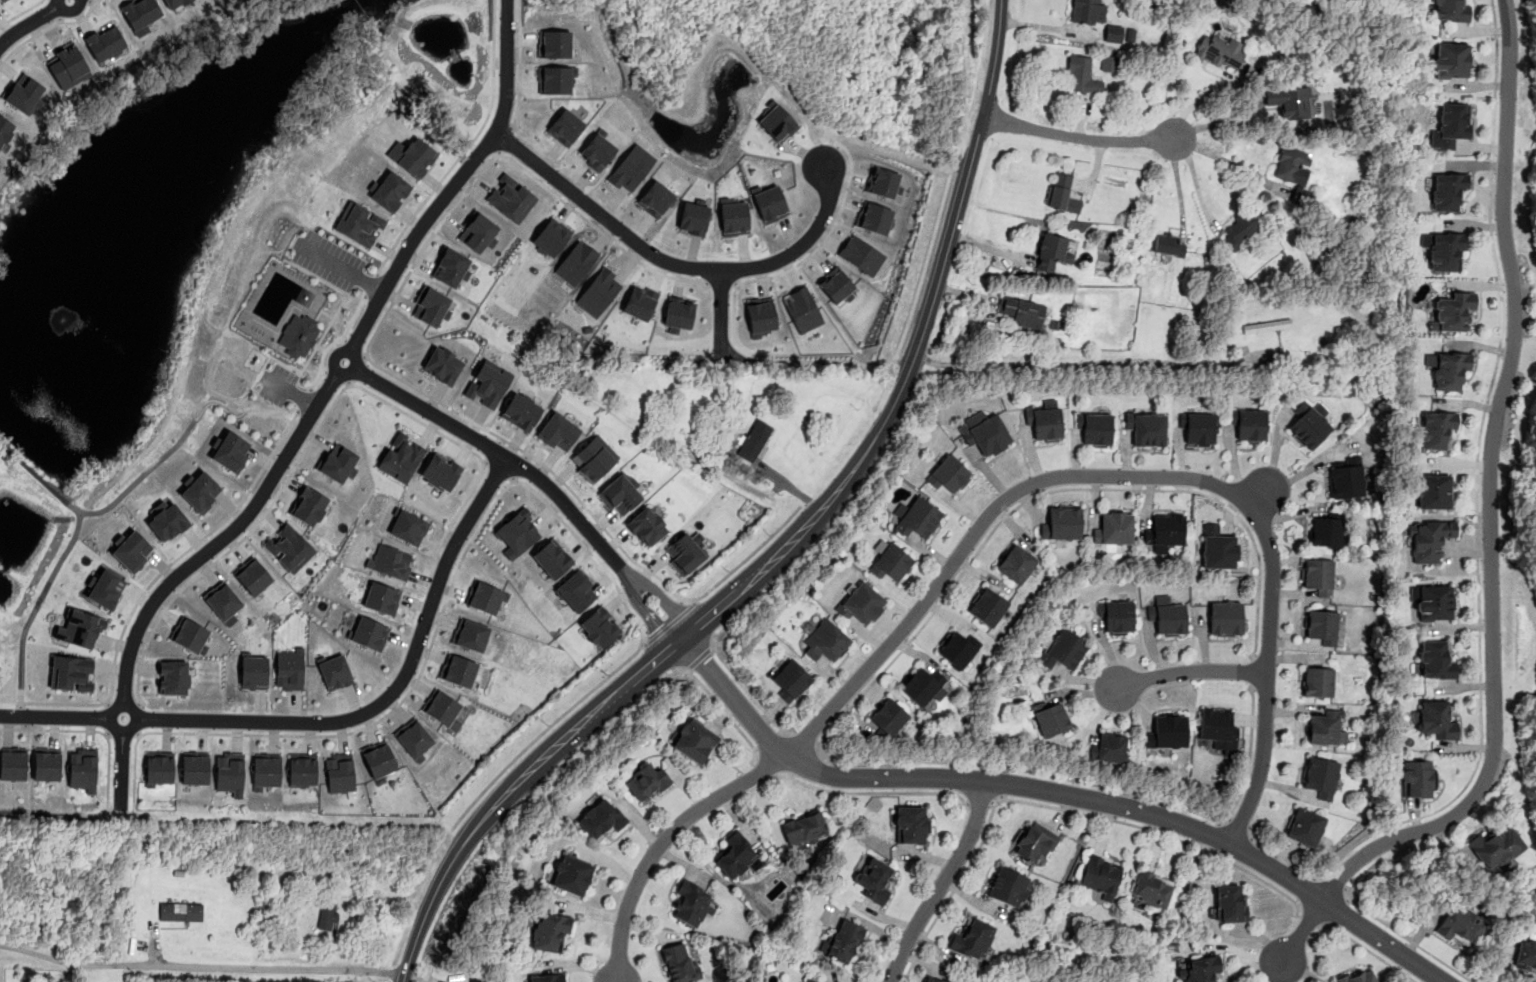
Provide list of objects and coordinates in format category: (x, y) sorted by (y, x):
building: (0, 0)
building: (173, 3)
road: (56, 10)
building: (1451, 10)
building: (1088, 11)
road: (20, 12)
building: (139, 14)
road: (33, 20)
road: (1046, 27)
road: (47, 28)
building: (1113, 32)
building: (104, 42)
building: (553, 43)
building: (1220, 50)
building: (1451, 60)
building: (1108, 62)
building: (68, 65)
road: (518, 65)
building: (1081, 75)
building: (554, 79)
building: (23, 93)
road: (1206, 97)
building: (1289, 101)
building: (776, 122)
road: (1224, 122)
road: (513, 124)
building: (1451, 126)
building: (565, 127)
building: (5, 129)
road: (1079, 137)
road: (505, 138)
road: (464, 148)
building: (597, 151)
road: (497, 153)
road: (891, 155)
building: (415, 157)
road: (1224, 162)
building: (630, 167)
building: (1294, 172)
road: (1195, 181)
building: (883, 182)
building: (1448, 189)
building: (389, 190)
building: (1059, 190)
building: (655, 198)
building: (770, 204)
building: (692, 218)
building: (733, 218)
building: (874, 218)
road: (442, 219)
building: (359, 223)
building: (1239, 228)
building: (477, 232)
building: (551, 236)
road: (823, 239)
building: (1168, 244)
building: (1445, 249)
building: (1052, 251)
building: (861, 254)
road: (326, 259)
road: (926, 259)
parking lot: (328, 260)
building: (575, 262)
road: (675, 263)
building: (451, 267)
road: (370, 283)
road: (369, 284)
building: (836, 285)
building: (598, 291)
building: (639, 302)
building: (431, 305)
building: (801, 309)
road: (720, 310)
building: (1023, 311)
building: (1453, 311)
building: (678, 312)
building: (760, 316)
building: (1266, 325)
building: (298, 335)
road: (1086, 363)
building: (442, 364)
building: (1450, 368)
parking lot: (276, 383)
road: (278, 383)
building: (487, 383)
road: (302, 386)
road: (304, 397)
road: (304, 399)
road: (314, 409)
building: (520, 411)
road: (239, 414)
building: (1045, 420)
building: (1249, 424)
building: (1309, 424)
building: (1198, 426)
building: (1094, 427)
building: (1146, 427)
building: (1437, 430)
building: (557, 431)
building: (984, 432)
building: (754, 440)
road: (462, 445)
road: (493, 448)
building: (230, 451)
building: (401, 457)
building: (593, 458)
road: (1272, 461)
building: (338, 462)
road: (484, 462)
road: (520, 465)
road: (544, 465)
road: (499, 469)
building: (440, 472)
road: (142, 474)
road: (1294, 474)
road: (534, 475)
building: (950, 475)
road: (1134, 475)
building: (1346, 476)
road: (39, 477)
road: (1476, 477)
road: (512, 479)
building: (201, 491)
building: (1433, 491)
building: (619, 494)
building: (308, 505)
building: (918, 518)
building: (167, 522)
road: (835, 522)
building: (1062, 524)
building: (646, 526)
building: (408, 527)
building: (1114, 529)
building: (1327, 529)
building: (1166, 530)
road: (1490, 530)
building: (517, 532)
building: (1429, 538)
road: (789, 544)
road: (233, 546)
building: (289, 547)
building: (1217, 549)
building: (131, 551)
building: (684, 553)
road: (746, 555)
building: (552, 558)
building: (390, 561)
building: (891, 563)
building: (1016, 564)
building: (1318, 575)
building: (253, 576)
road: (154, 579)
building: (105, 588)
building: (576, 591)
building: (485, 597)
building: (381, 598)
building: (223, 602)
building: (1435, 602)
road: (37, 603)
building: (861, 603)
building: (987, 606)
building: (1118, 618)
building: (1168, 618)
building: (1225, 619)
road: (668, 623)
building: (1322, 626)
building: (600, 627)
building: (79, 628)
building: (368, 633)
building: (188, 634)
building: (470, 634)
building: (825, 642)
road: (905, 644)
building: (958, 648)
building: (1063, 649)
road: (429, 651)
building: (1437, 658)
road: (698, 659)
building: (289, 668)
road: (1190, 669)
building: (458, 670)
building: (335, 671)
building: (253, 672)
building: (71, 673)
road: (1252, 673)
building: (173, 677)
building: (790, 680)
building: (1318, 681)
building: (923, 685)
road: (749, 694)
road: (635, 700)
road: (106, 702)
road: (122, 704)
building: (442, 709)
building: (889, 716)
road: (107, 717)
road: (137, 718)
building: (1051, 718)
building: (1436, 719)
road: (332, 721)
building: (1325, 728)
road: (90, 730)
road: (543, 730)
building: (1218, 730)
road: (121, 731)
building: (1168, 731)
road: (105, 733)
road: (139, 734)
building: (414, 738)
building: (694, 740)
road: (802, 740)
building: (1109, 748)
road: (1249, 753)
building: (379, 759)
building: (12, 763)
building: (46, 763)
road: (768, 763)
building: (159, 767)
building: (195, 768)
building: (83, 769)
building: (302, 769)
building: (266, 770)
building: (340, 772)
building: (230, 773)
building: (1321, 776)
building: (1418, 777)
building: (645, 781)
road: (1002, 781)
road: (1059, 791)
road: (872, 792)
road: (980, 802)
road: (1060, 809)
building: (601, 818)
road: (1237, 824)
building: (911, 825)
building: (1305, 827)
building: (804, 828)
road: (1215, 835)
road: (662, 841)
building: (1035, 842)
building: (1496, 847)
building: (737, 855)
road: (1281, 855)
building: (572, 874)
building: (1101, 875)
building: (875, 880)
road: (941, 882)
road: (1336, 883)
building: (1007, 887)
building: (1151, 890)
building: (691, 902)
building: (1231, 903)
building: (180, 911)
building: (327, 915)
road: (1309, 915)
building: (1460, 925)
building: (550, 932)
road: (1404, 937)
building: (972, 939)
building: (844, 941)
road: (1368, 949)
building: (1525, 955)
building: (679, 962)
road: (202, 968)
building: (1200, 968)
building: (1359, 977)
building: (546, 978)
building: (933, 979)
building: (806, 981)
building: (814, 981)

